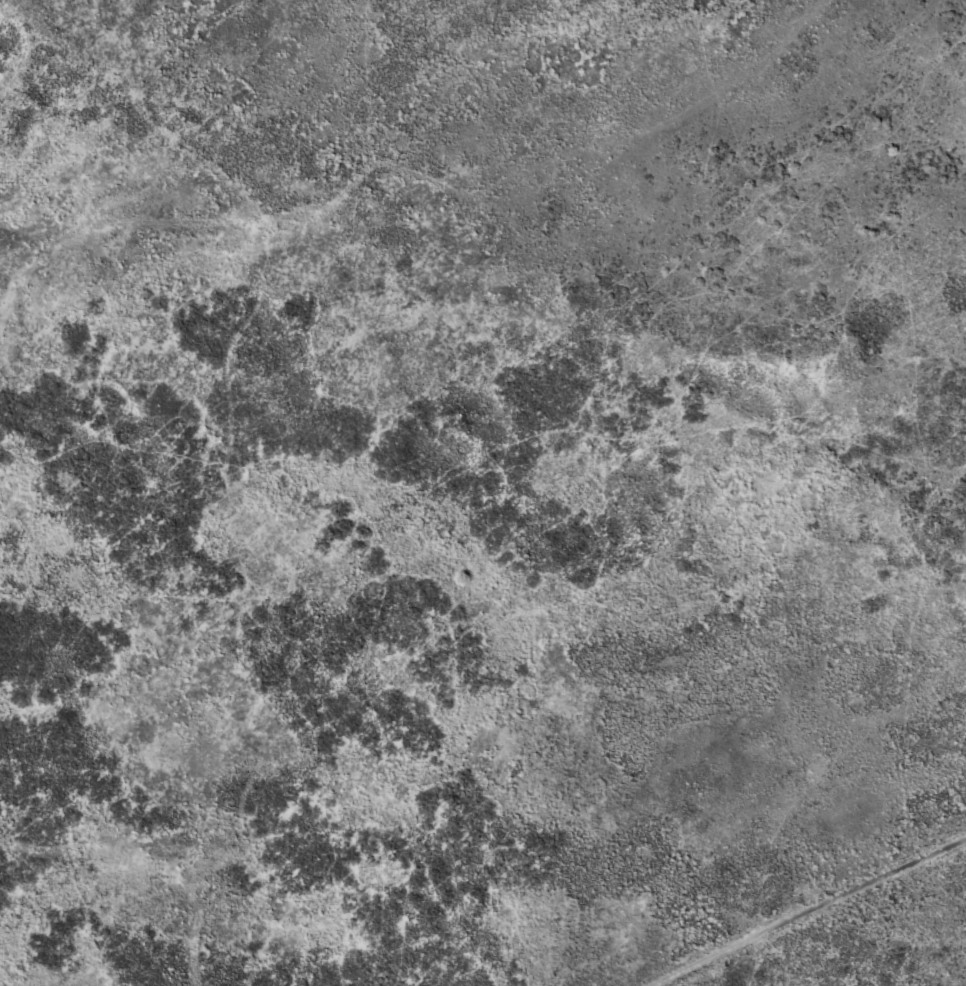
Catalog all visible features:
road: (810, 913)

